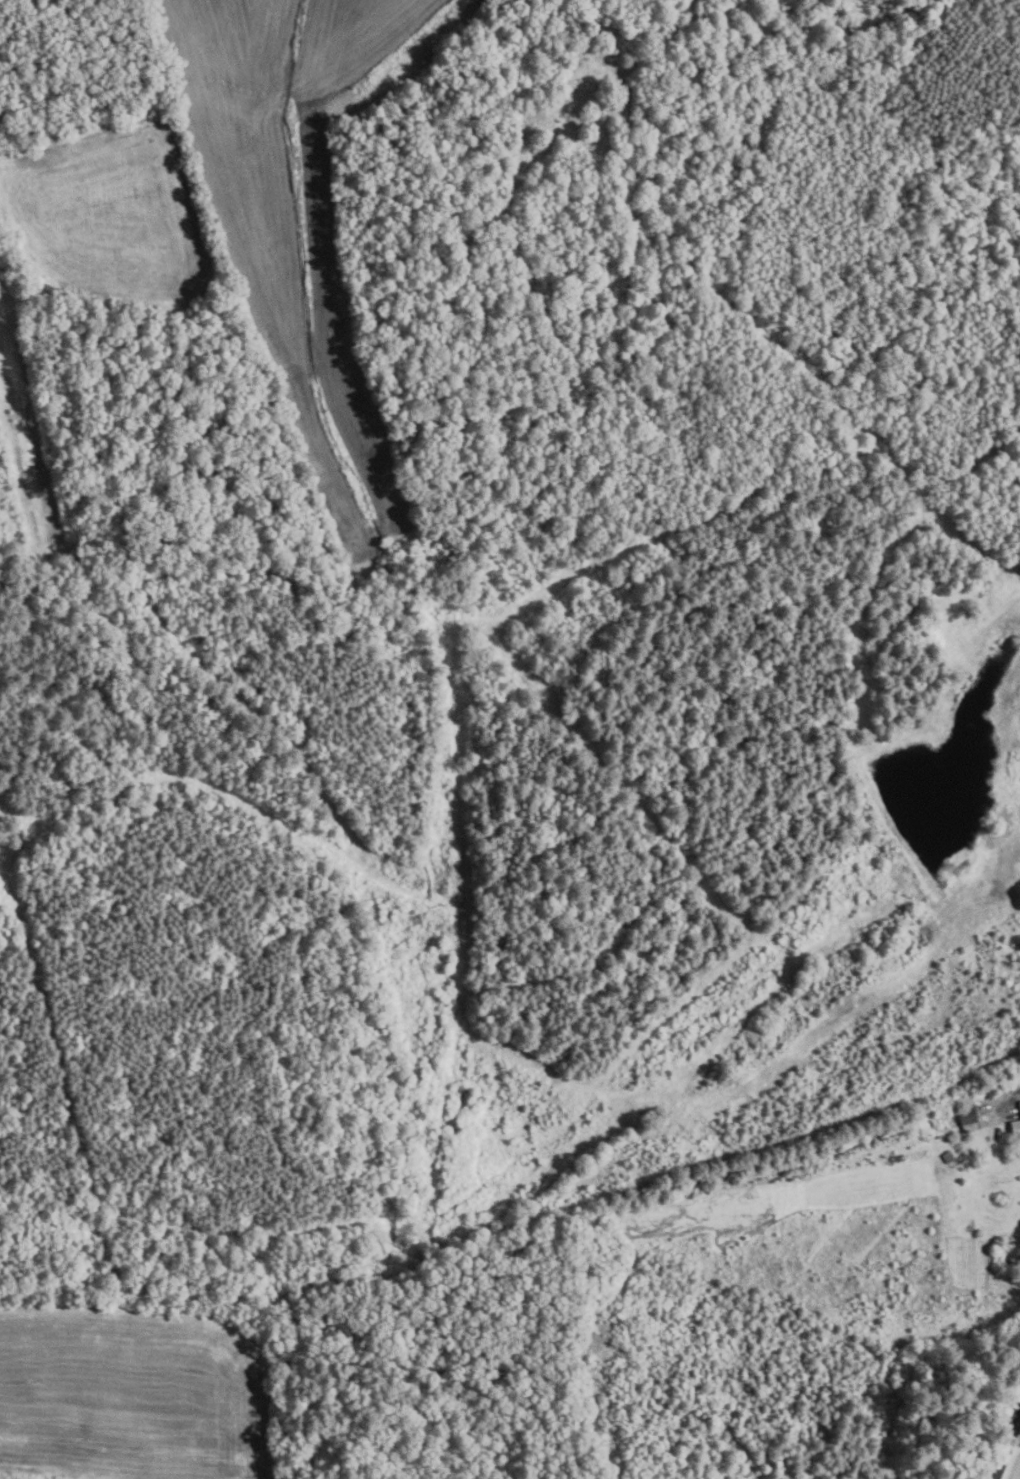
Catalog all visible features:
building: (987, 1094)
road: (1012, 1097)
building: (1018, 1106)
building: (948, 1119)
building: (967, 1119)
building: (1014, 1127)
building: (945, 1157)
road: (1007, 1447)

